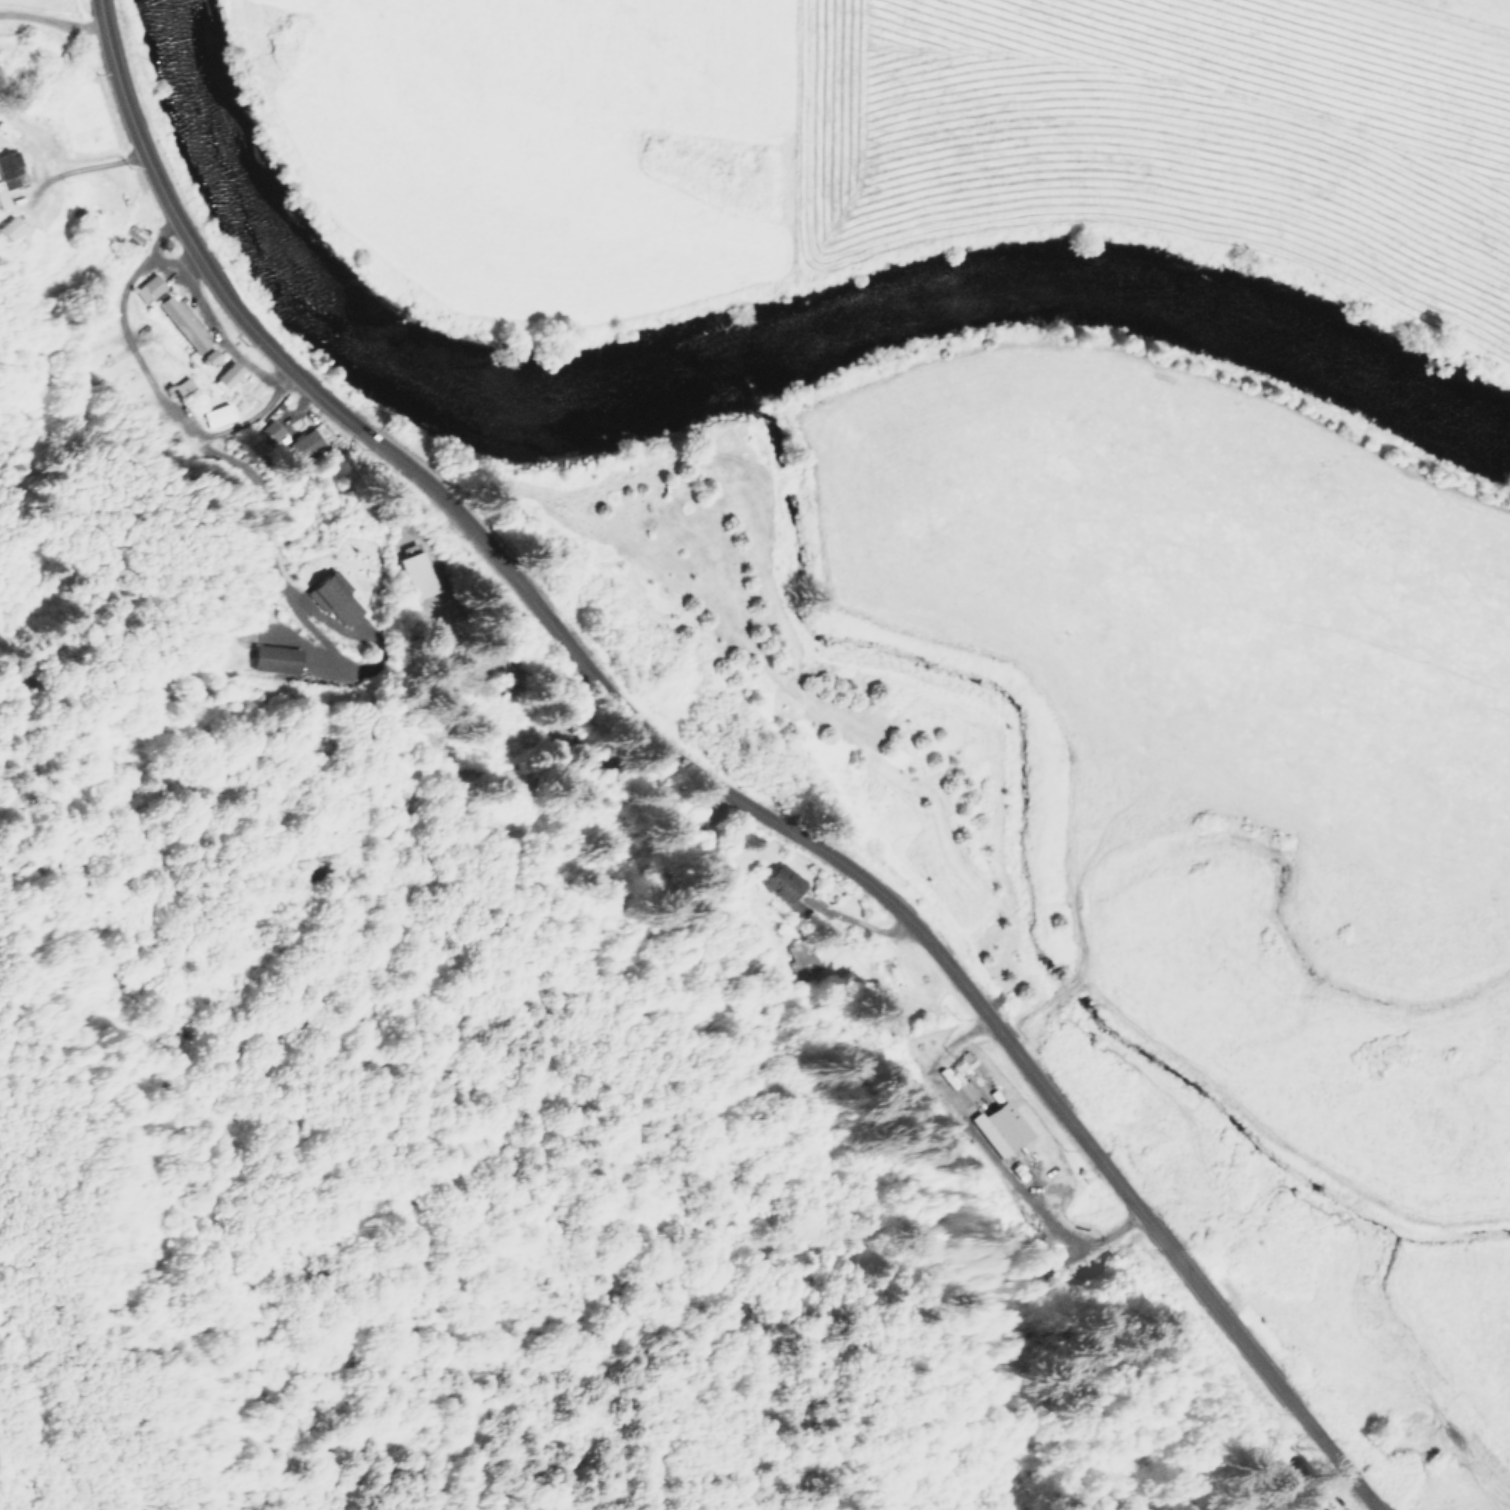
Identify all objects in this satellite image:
crop: (44, 7)
crop: (907, 133)
building: (13, 226)
building: (149, 287)
building: (183, 322)
river: (742, 365)
building: (228, 374)
building: (219, 414)
road: (209, 424)
building: (273, 430)
building: (307, 443)
building: (417, 574)
building: (335, 599)
building: (276, 657)
road: (708, 776)
crop: (1212, 784)
building: (785, 885)
building: (802, 958)
building: (1001, 1127)

